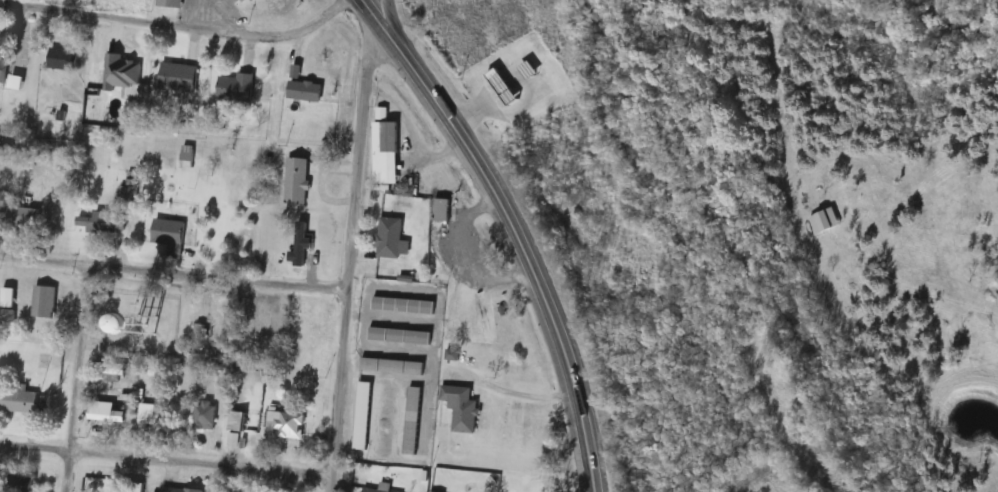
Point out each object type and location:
building: (244, 2)
building: (171, 3)
road: (392, 20)
road: (175, 27)
building: (63, 59)
building: (3, 66)
building: (120, 73)
building: (178, 77)
building: (237, 87)
building: (503, 87)
building: (306, 91)
road: (477, 150)
building: (386, 153)
building: (297, 181)
building: (441, 211)
building: (23, 216)
building: (104, 223)
building: (168, 233)
building: (391, 240)
building: (301, 244)
railway: (753, 245)
road: (349, 253)
road: (458, 253)
road: (172, 275)
building: (8, 298)
building: (43, 302)
building: (403, 306)
building: (7, 318)
building: (265, 329)
building: (162, 330)
building: (400, 336)
building: (198, 339)
building: (392, 367)
road: (74, 380)
road: (508, 388)
building: (19, 402)
road: (576, 407)
building: (461, 409)
building: (205, 415)
building: (105, 416)
building: (363, 416)
building: (237, 421)
building: (413, 421)
building: (151, 423)
building: (287, 425)
road: (166, 460)
building: (21, 484)
building: (380, 488)
building: (436, 489)
building: (179, 490)

